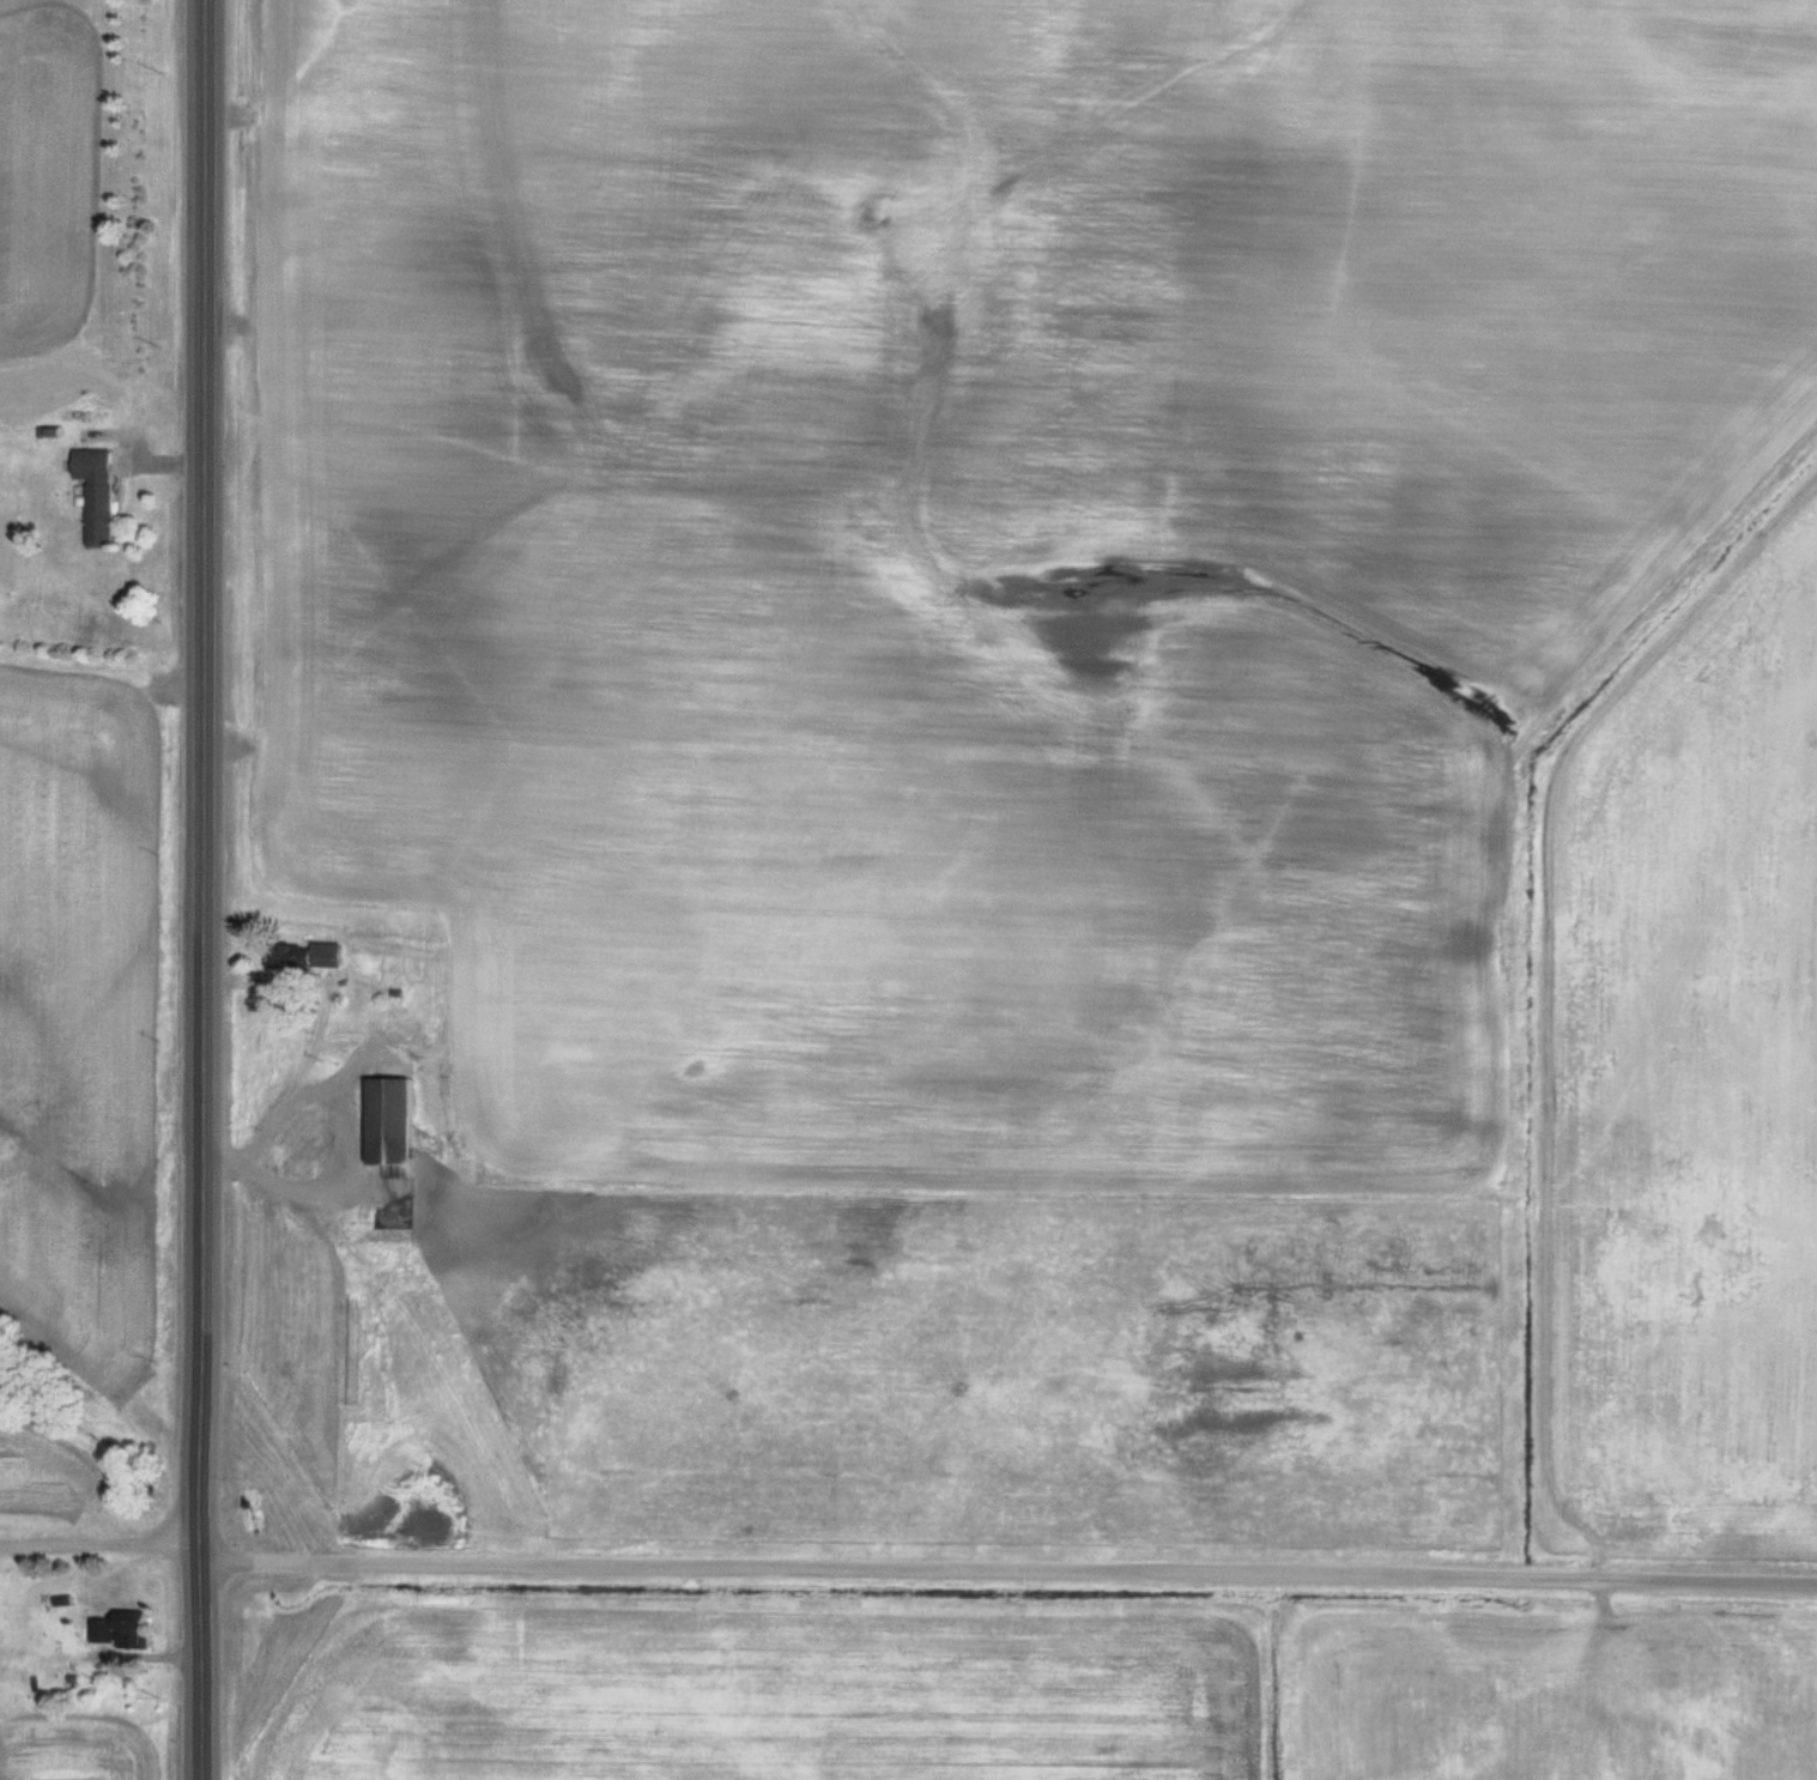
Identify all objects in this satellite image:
building: (95, 494)
road: (202, 890)
building: (323, 955)
building: (387, 1125)
building: (291, 1154)
building: (337, 1205)
road: (1009, 1569)
building: (119, 1631)

